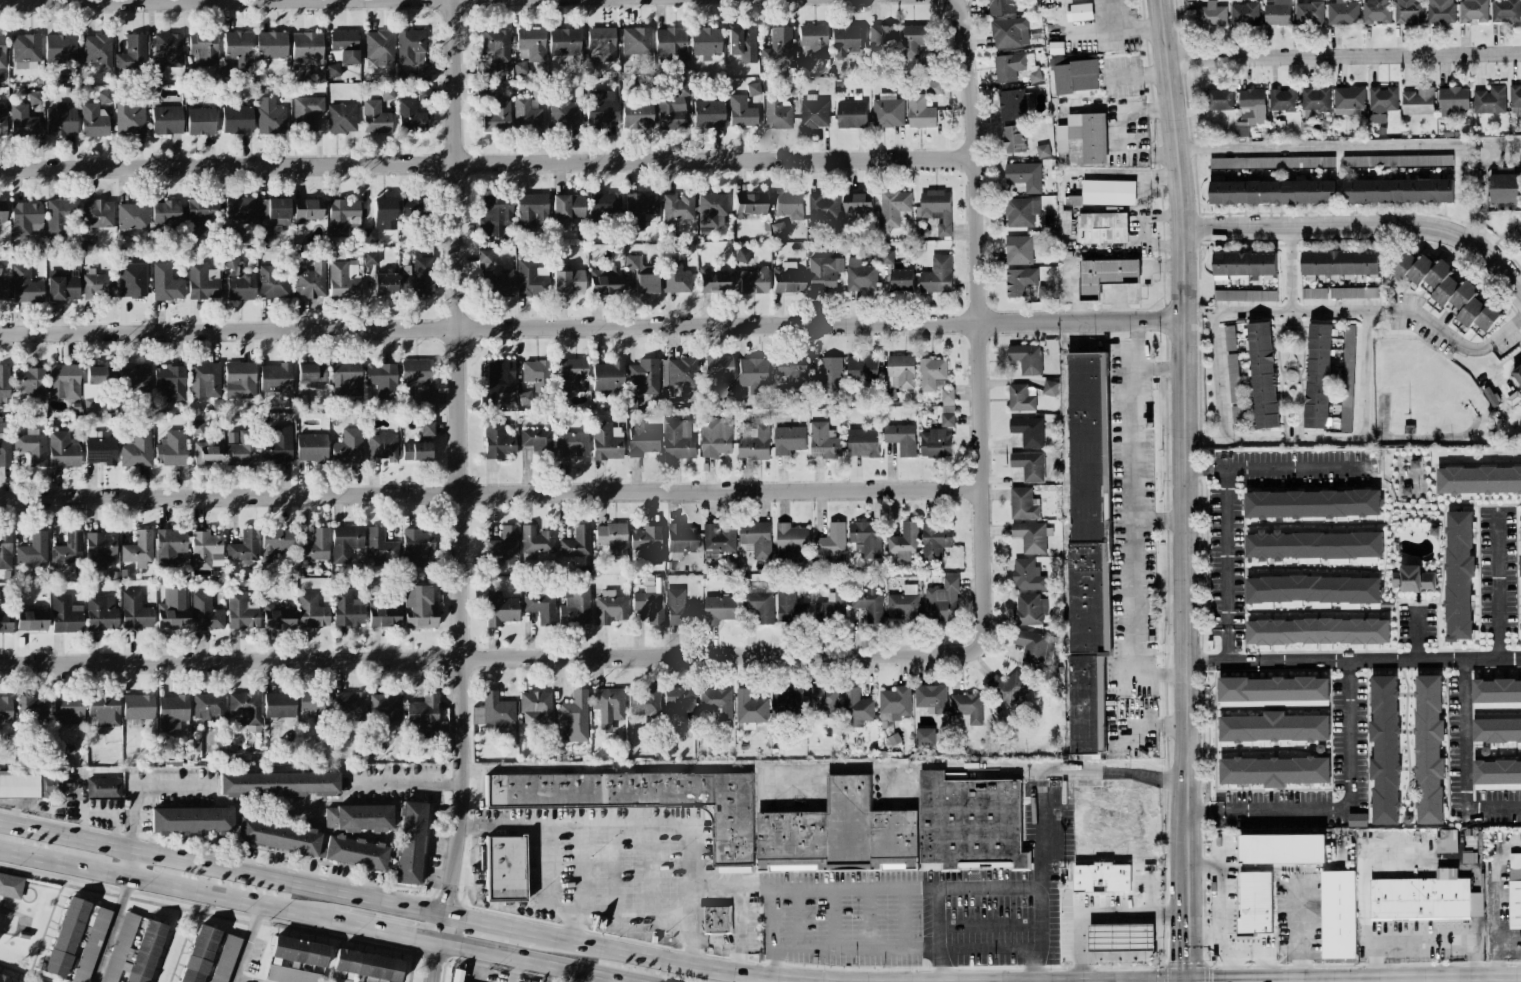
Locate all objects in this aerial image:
road: (143, 0)
building: (1001, 6)
building: (1440, 10)
building: (1473, 10)
building: (1505, 10)
building: (1079, 11)
building: (1376, 11)
building: (1408, 11)
building: (1309, 12)
building: (1342, 12)
building: (1277, 13)
building: (1212, 14)
building: (1243, 14)
building: (1012, 32)
building: (884, 36)
building: (916, 38)
building: (813, 40)
building: (844, 40)
building: (636, 41)
building: (564, 42)
building: (705, 42)
building: (532, 43)
building: (742, 43)
building: (496, 44)
building: (271, 45)
building: (670, 45)
building: (345, 46)
building: (600, 47)
building: (778, 47)
building: (60, 48)
building: (204, 48)
building: (238, 48)
building: (378, 49)
building: (25, 50)
building: (97, 50)
building: (168, 51)
building: (305, 52)
building: (132, 53)
road: (1345, 55)
building: (1009, 66)
building: (485, 69)
building: (333, 70)
building: (1034, 75)
building: (1075, 76)
building: (932, 86)
building: (753, 89)
building: (424, 93)
building: (104, 97)
building: (1218, 99)
building: (1282, 99)
building: (1315, 99)
building: (1452, 99)
building: (1489, 99)
building: (1349, 100)
building: (1417, 101)
building: (1381, 102)
building: (1015, 103)
building: (1252, 105)
building: (601, 108)
building: (887, 110)
road: (1133, 110)
building: (674, 111)
building: (814, 111)
building: (920, 111)
building: (305, 112)
building: (563, 112)
building: (741, 112)
building: (776, 112)
building: (852, 113)
building: (708, 114)
building: (410, 115)
building: (526, 115)
building: (636, 115)
building: (497, 116)
building: (129, 117)
building: (270, 117)
building: (341, 118)
building: (375, 118)
building: (2, 119)
building: (237, 119)
building: (61, 120)
building: (94, 120)
building: (167, 120)
building: (200, 121)
building: (22, 122)
building: (1012, 138)
building: (1083, 138)
road: (1348, 143)
building: (1042, 150)
building: (1396, 160)
building: (1271, 161)
road: (486, 162)
building: (1024, 175)
building: (1242, 177)
building: (1505, 187)
building: (1397, 190)
building: (1108, 191)
building: (1271, 191)
building: (857, 203)
building: (789, 204)
building: (748, 205)
building: (824, 205)
building: (567, 206)
building: (678, 206)
building: (411, 207)
building: (894, 207)
building: (602, 208)
building: (239, 210)
building: (307, 210)
building: (639, 210)
building: (711, 210)
building: (201, 211)
building: (530, 211)
building: (1020, 211)
building: (935, 212)
building: (97, 214)
building: (495, 214)
building: (165, 215)
building: (2, 216)
building: (272, 216)
building: (343, 216)
building: (59, 217)
building: (133, 217)
building: (26, 218)
building: (381, 218)
road: (1364, 225)
building: (1104, 227)
building: (777, 229)
building: (1518, 242)
building: (1019, 248)
building: (741, 255)
building: (484, 256)
building: (886, 256)
building: (369, 258)
building: (1339, 262)
building: (1244, 263)
road: (1289, 267)
building: (643, 274)
building: (822, 274)
building: (937, 274)
building: (860, 275)
building: (1106, 275)
building: (419, 276)
building: (675, 277)
building: (531, 278)
building: (901, 278)
building: (238, 279)
building: (311, 279)
building: (343, 279)
building: (787, 279)
building: (132, 280)
building: (498, 280)
building: (1019, 280)
building: (202, 281)
building: (604, 281)
building: (754, 281)
building: (1, 282)
building: (568, 282)
building: (166, 283)
building: (273, 283)
building: (384, 284)
building: (25, 285)
building: (97, 285)
building: (63, 287)
building: (1447, 288)
building: (1313, 292)
building: (1353, 292)
building: (1245, 294)
road: (1376, 311)
road: (976, 321)
road: (592, 327)
building: (1229, 337)
road: (1090, 345)
building: (1026, 357)
road: (1159, 367)
building: (862, 368)
building: (681, 370)
building: (793, 370)
building: (753, 371)
building: (311, 372)
building: (719, 372)
building: (930, 372)
building: (574, 373)
building: (536, 374)
building: (1262, 374)
building: (1517, 374)
building: (828, 375)
building: (898, 375)
building: (1317, 375)
building: (608, 376)
building: (643, 377)
building: (1233, 377)
building: (1347, 377)
building: (275, 378)
building: (345, 379)
building: (382, 379)
building: (498, 379)
building: (205, 380)
building: (239, 380)
building: (64, 381)
building: (93, 381)
building: (418, 381)
building: (30, 382)
building: (134, 382)
building: (171, 382)
building: (4, 384)
building: (1049, 387)
building: (947, 396)
building: (525, 397)
building: (1021, 397)
building: (1236, 417)
building: (947, 419)
building: (196, 426)
building: (427, 428)
building: (1028, 430)
building: (715, 436)
building: (901, 438)
building: (643, 439)
building: (788, 439)
building: (497, 440)
building: (679, 440)
road: (1290, 440)
building: (606, 441)
building: (753, 441)
building: (823, 441)
building: (862, 441)
building: (537, 442)
building: (935, 443)
building: (277, 445)
building: (570, 445)
building: (31, 446)
building: (240, 447)
building: (311, 447)
building: (348, 447)
building: (382, 447)
building: (171, 448)
building: (63, 449)
building: (99, 449)
building: (137, 450)
building: (416, 451)
building: (207, 454)
building: (1028, 465)
road: (1279, 469)
building: (1478, 479)
road: (1185, 490)
road: (458, 491)
road: (489, 492)
building: (1023, 503)
building: (1311, 503)
road: (1134, 504)
building: (1520, 515)
road: (1160, 519)
building: (1030, 536)
building: (756, 537)
building: (866, 537)
building: (612, 539)
building: (535, 540)
building: (681, 540)
building: (717, 540)
building: (831, 540)
building: (935, 540)
building: (904, 541)
building: (275, 542)
building: (345, 542)
building: (576, 542)
building: (790, 542)
building: (647, 543)
building: (1313, 544)
building: (315, 545)
building: (380, 545)
building: (503, 545)
building: (169, 546)
building: (244, 546)
building: (1088, 546)
building: (417, 547)
building: (138, 548)
building: (5, 549)
building: (33, 549)
building: (68, 549)
building: (98, 550)
building: (205, 550)
road: (1226, 565)
building: (1027, 574)
building: (1458, 574)
building: (1412, 579)
road: (1501, 579)
building: (1312, 588)
building: (941, 599)
building: (869, 602)
building: (903, 602)
building: (650, 603)
building: (759, 605)
building: (789, 606)
building: (418, 607)
building: (540, 607)
building: (574, 607)
building: (347, 608)
building: (609, 608)
building: (680, 608)
building: (719, 608)
building: (173, 609)
building: (500, 609)
building: (1030, 609)
building: (135, 611)
building: (240, 612)
building: (311, 612)
building: (101, 613)
building: (206, 613)
building: (65, 615)
building: (383, 616)
building: (277, 618)
building: (32, 620)
building: (4, 623)
building: (1317, 630)
building: (1031, 645)
road: (489, 658)
road: (1363, 659)
road: (1269, 660)
road: (1161, 672)
building: (1009, 686)
building: (1272, 688)
building: (1496, 693)
building: (931, 697)
building: (822, 699)
building: (312, 701)
building: (716, 701)
building: (349, 702)
building: (679, 702)
building: (894, 702)
building: (786, 703)
building: (643, 704)
building: (279, 705)
building: (138, 706)
building: (608, 706)
building: (750, 706)
building: (33, 707)
building: (208, 707)
building: (386, 707)
building: (856, 707)
building: (967, 707)
building: (535, 708)
building: (67, 709)
building: (104, 709)
building: (244, 709)
building: (5, 710)
building: (494, 710)
building: (172, 712)
building: (424, 713)
building: (574, 715)
building: (1274, 727)
building: (1496, 727)
building: (925, 735)
building: (1384, 749)
building: (1428, 749)
road: (1465, 761)
road: (1072, 769)
building: (1273, 770)
building: (1497, 773)
building: (19, 784)
building: (279, 784)
road: (143, 785)
road: (405, 785)
building: (50, 786)
building: (103, 787)
building: (642, 799)
road: (1268, 808)
road: (519, 815)
building: (358, 818)
building: (1357, 819)
building: (191, 820)
road: (1040, 826)
building: (901, 827)
building: (278, 836)
building: (1447, 840)
building: (410, 843)
building: (1282, 848)
building: (355, 852)
road: (541, 859)
road: (130, 864)
road: (223, 867)
building: (505, 868)
building: (1101, 877)
road: (987, 881)
road: (1360, 881)
road: (1497, 884)
building: (10, 886)
road: (169, 888)
road: (844, 888)
building: (1514, 889)
building: (1425, 897)
building: (1255, 903)
road: (1216, 911)
building: (1337, 913)
road: (1099, 914)
road: (796, 918)
road: (832, 918)
road: (867, 918)
road: (903, 918)
building: (714, 919)
road: (492, 924)
road: (573, 927)
road: (1298, 927)
road: (111, 931)
road: (776, 932)
road: (1201, 932)
road: (390, 933)
building: (1120, 937)
road: (1442, 939)
building: (77, 940)
road: (1510, 940)
building: (120, 943)
road: (246, 944)
road: (858, 948)
building: (299, 951)
building: (197, 954)
road: (1136, 957)
road: (1259, 957)
building: (223, 958)
road: (1499, 958)
road: (531, 962)
building: (364, 967)
road: (691, 967)
road: (549, 974)
building: (291, 975)
building: (456, 975)
road: (1428, 976)
building: (7, 979)
road: (246, 979)
road: (755, 979)
road: (1413, 979)
traffic signals: (1185, 981)

